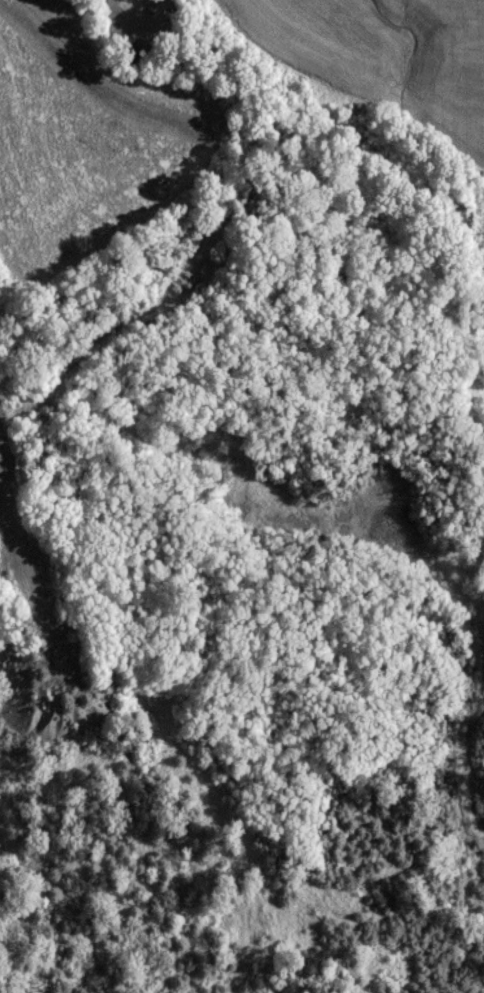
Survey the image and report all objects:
road: (238, 172)
road: (39, 580)

